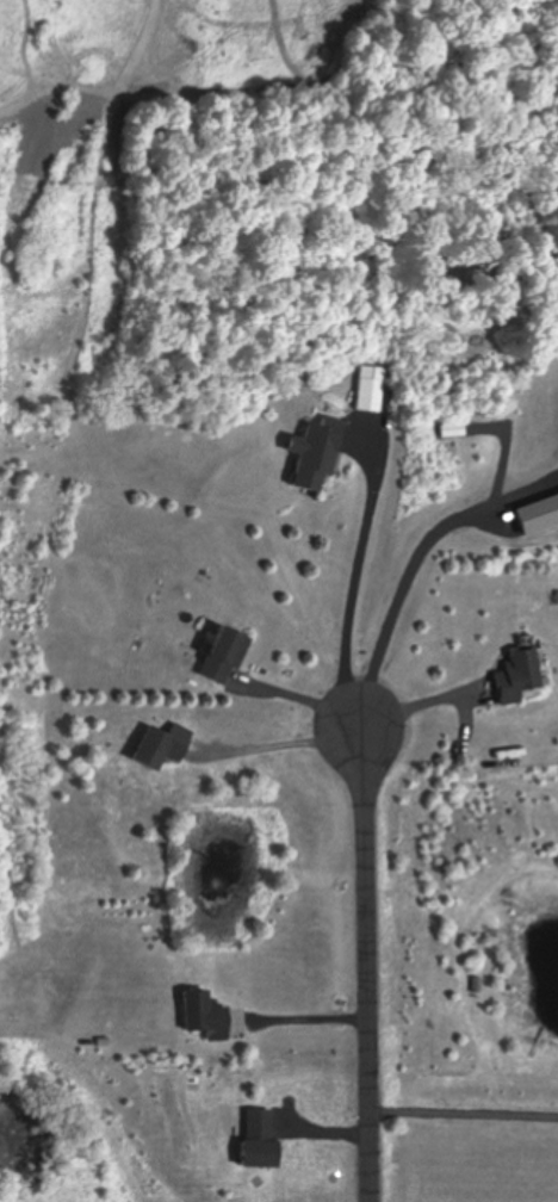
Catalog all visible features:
building: (367, 391)
building: (315, 457)
building: (222, 657)
building: (516, 675)
building: (160, 748)
road: (367, 960)
building: (203, 1016)

